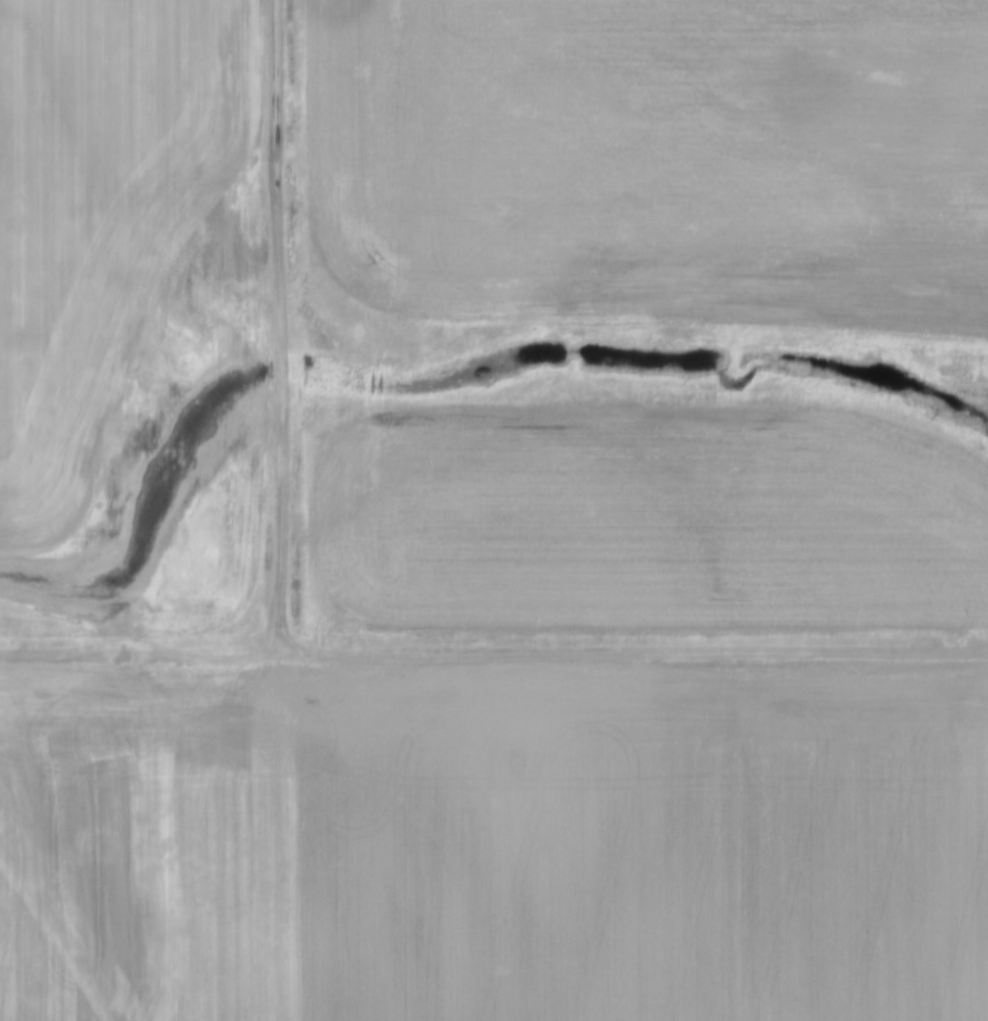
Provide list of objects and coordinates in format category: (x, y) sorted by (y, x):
road: (283, 333)
road: (493, 657)

